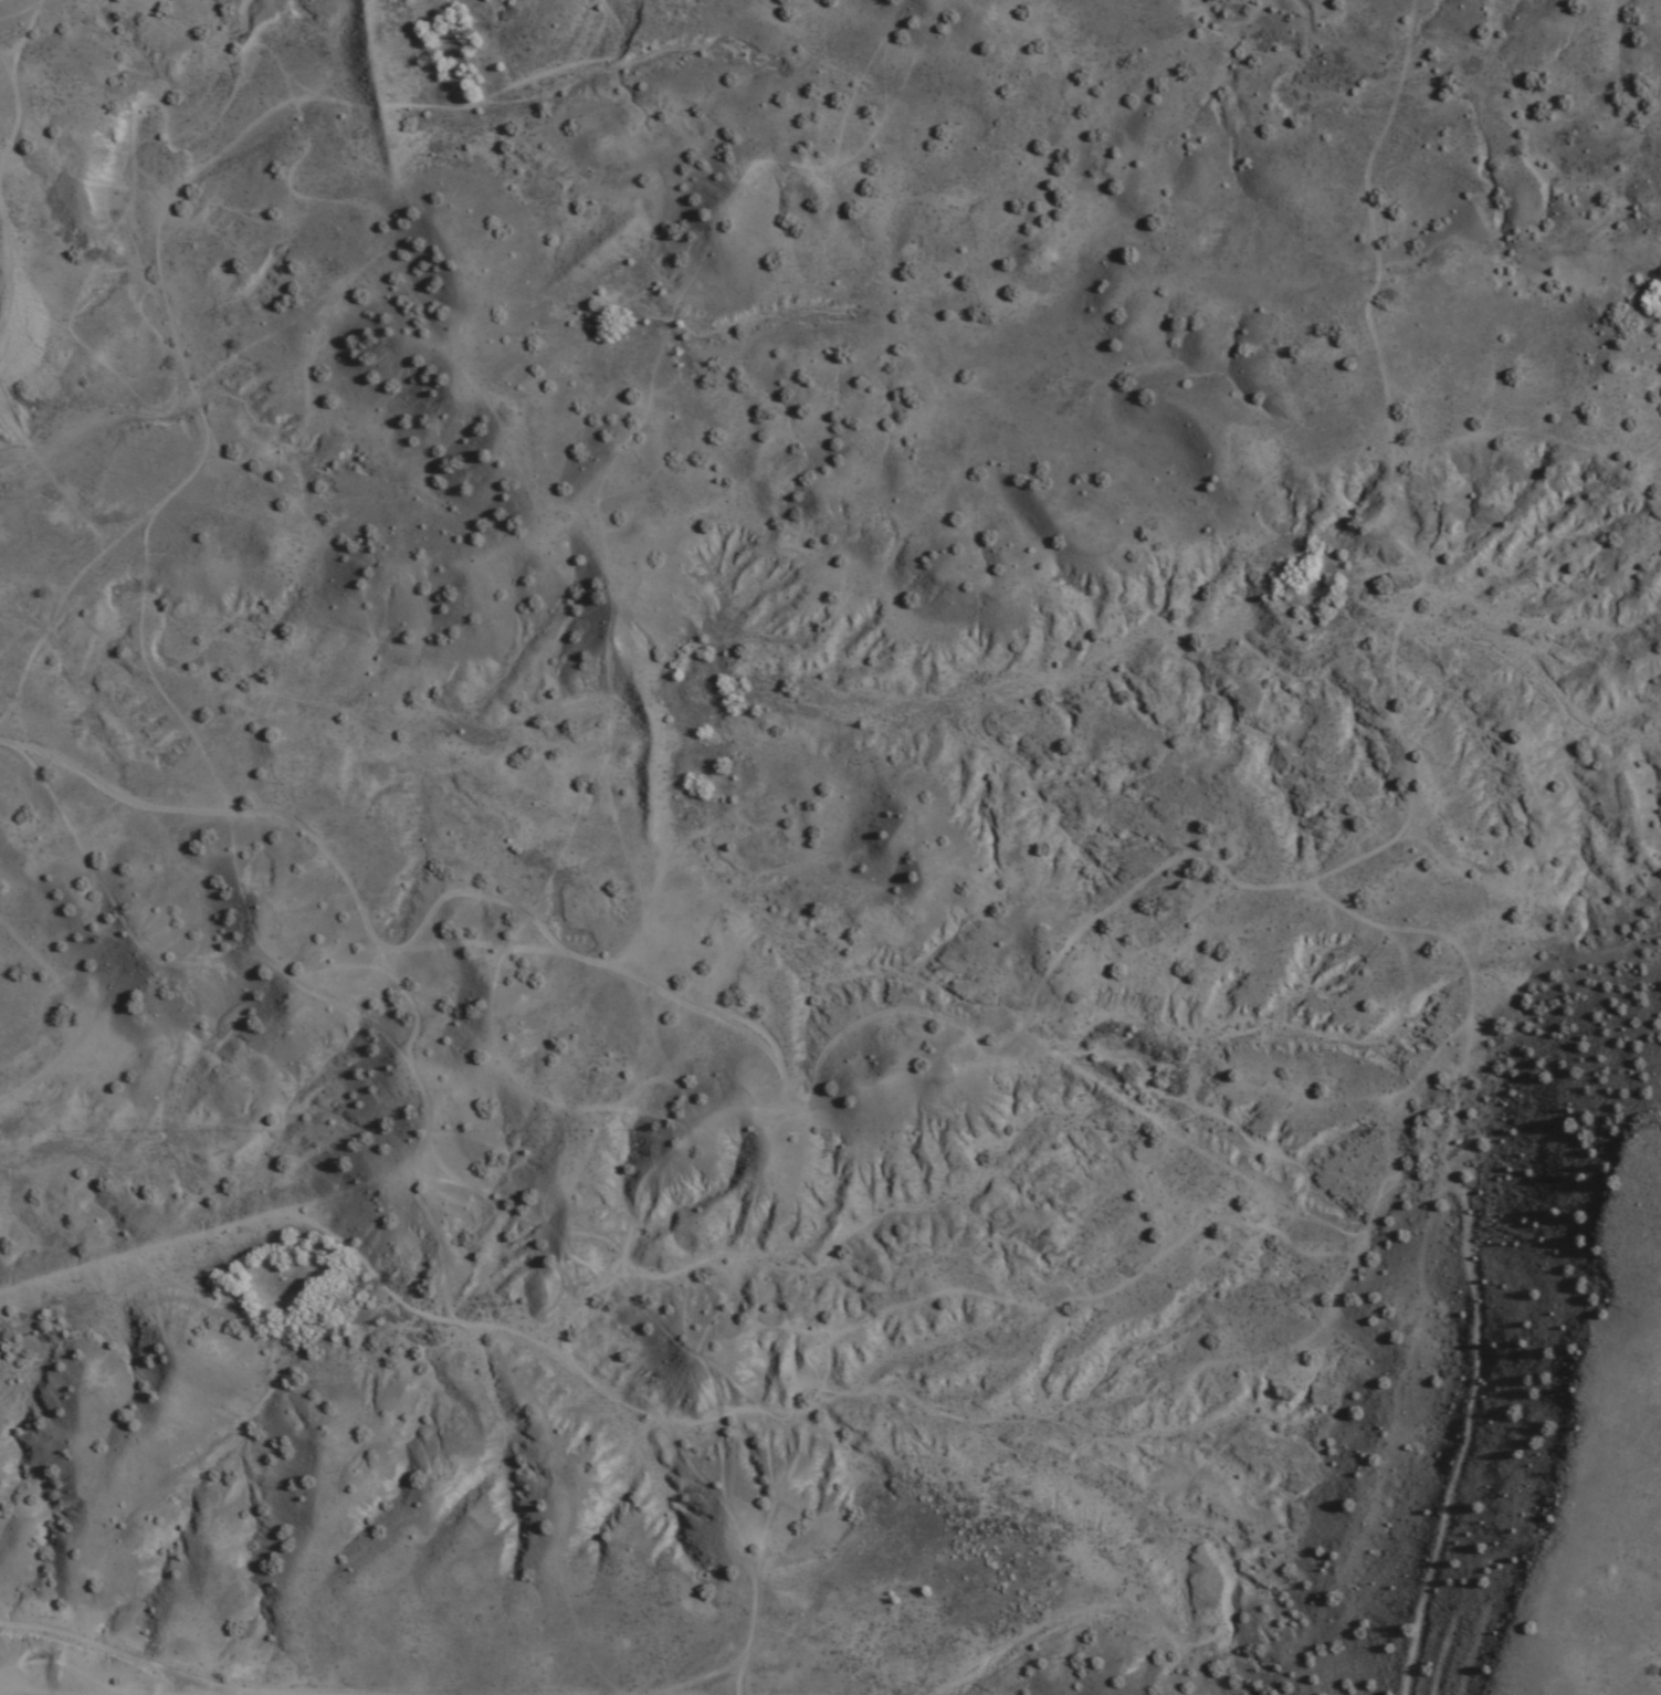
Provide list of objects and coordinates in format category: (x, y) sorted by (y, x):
road: (25, 1694)

